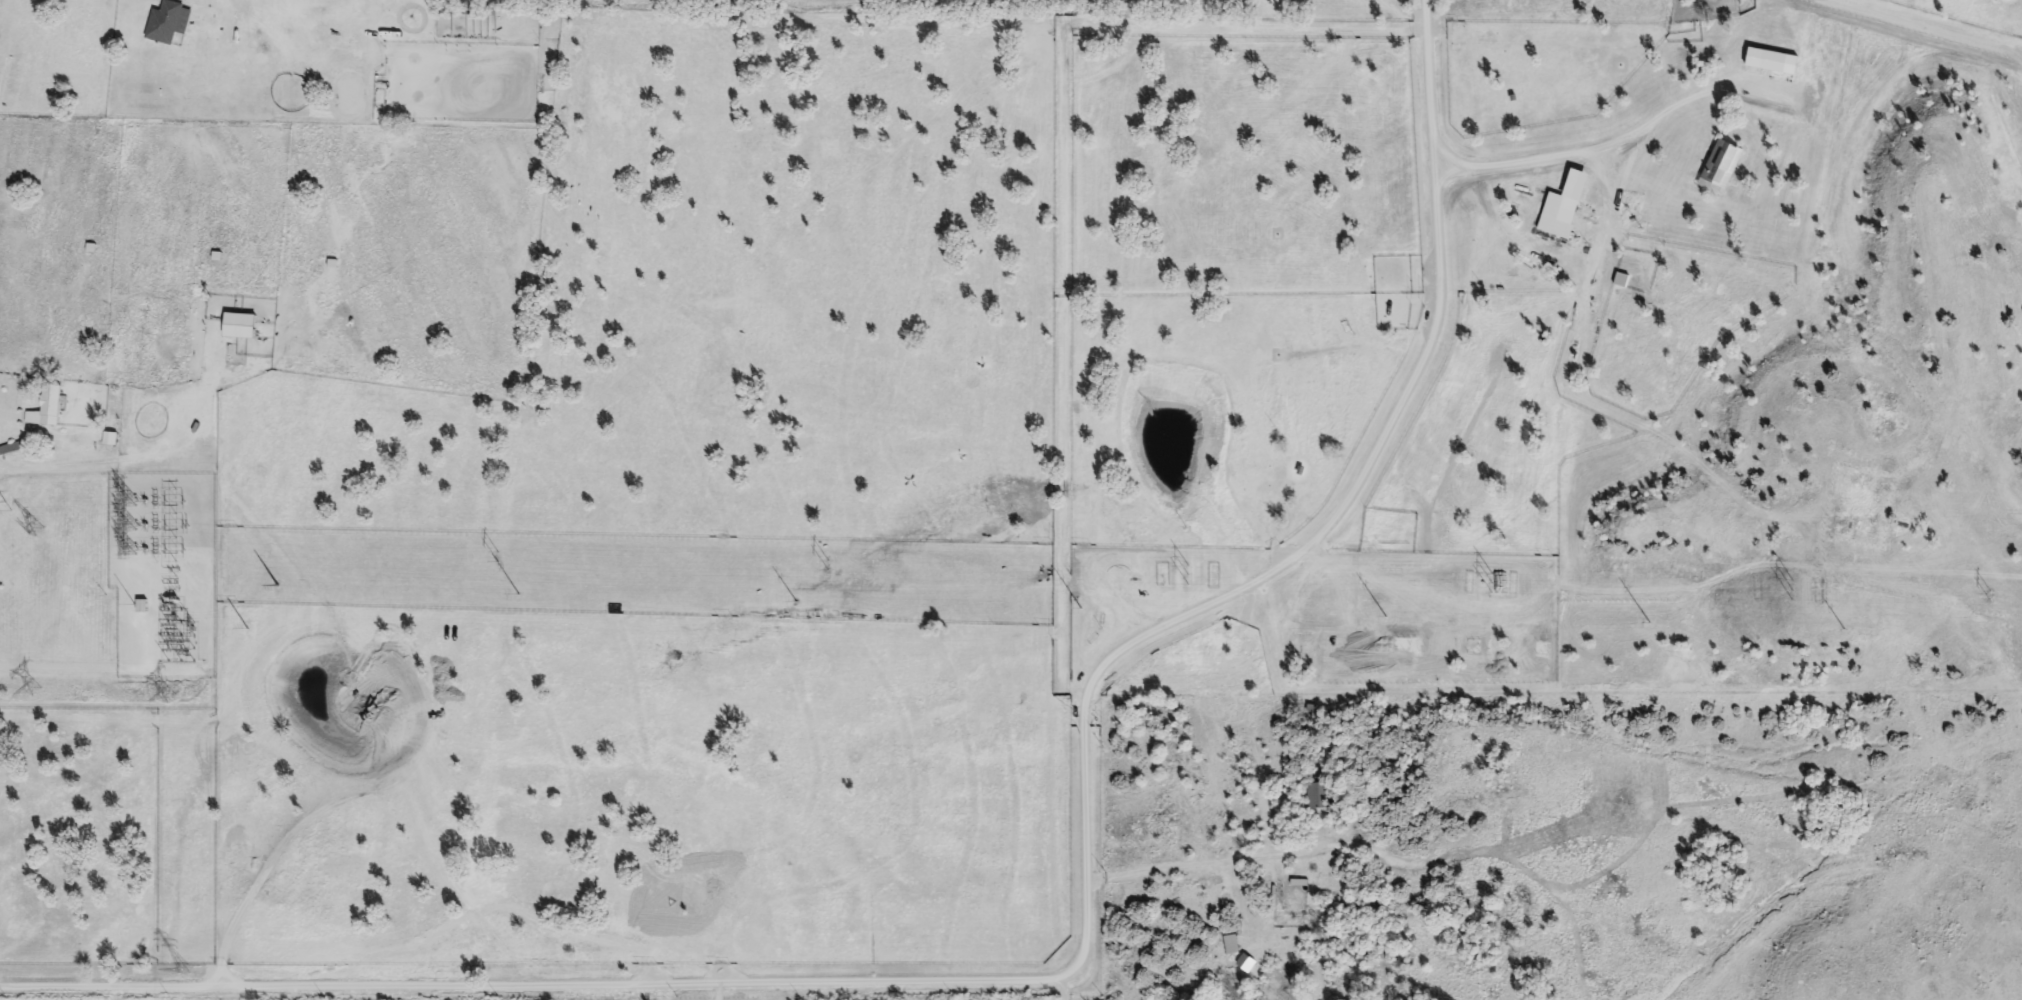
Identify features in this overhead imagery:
building: (170, 22)
building: (1768, 61)
building: (1772, 109)
building: (1722, 168)
building: (1572, 205)
building: (243, 327)
building: (49, 407)
building: (112, 442)
building: (11, 450)
power tower: (7, 502)
power tower: (38, 531)
power substation: (161, 572)
building: (143, 607)
power tower: (39, 707)
power tower: (175, 707)
building: (1319, 798)
road: (1082, 828)
road: (1200, 864)
power tower: (184, 976)
road: (1069, 991)

